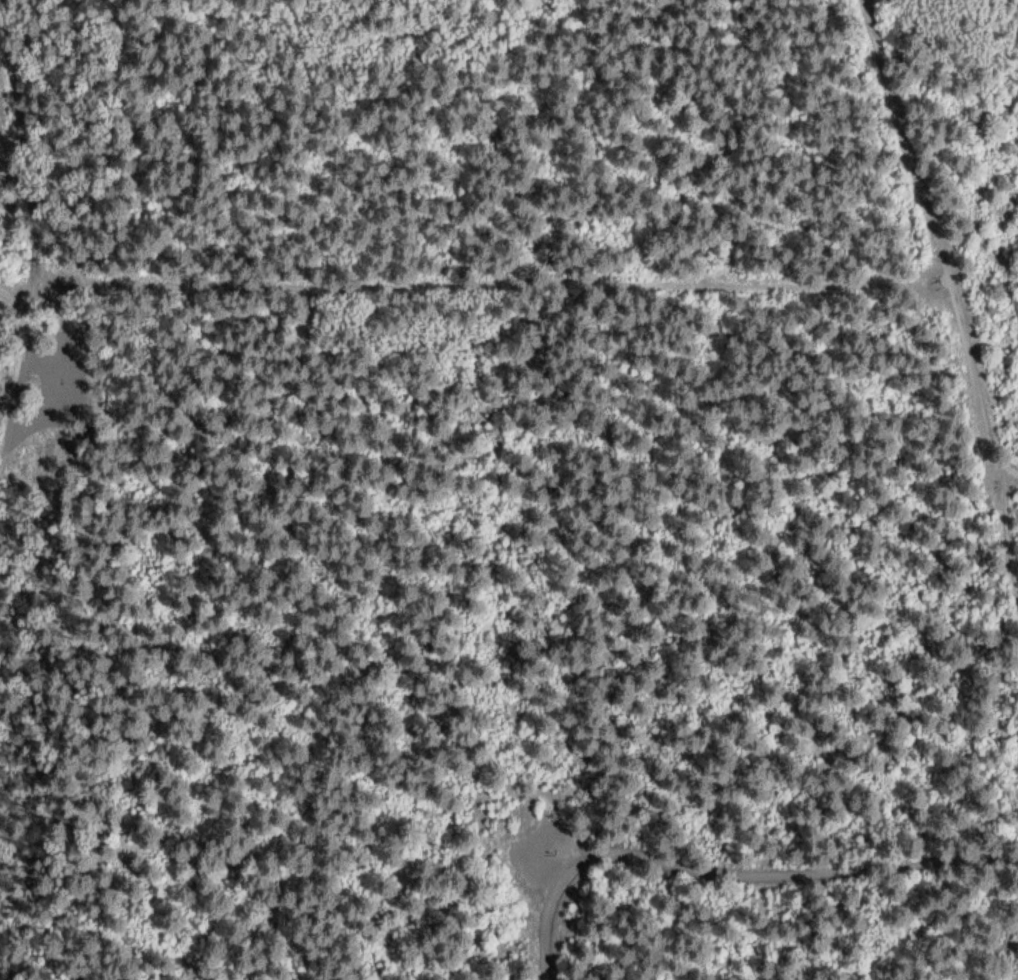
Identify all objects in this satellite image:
road: (7, 225)
road: (929, 240)
road: (475, 285)
road: (734, 880)

